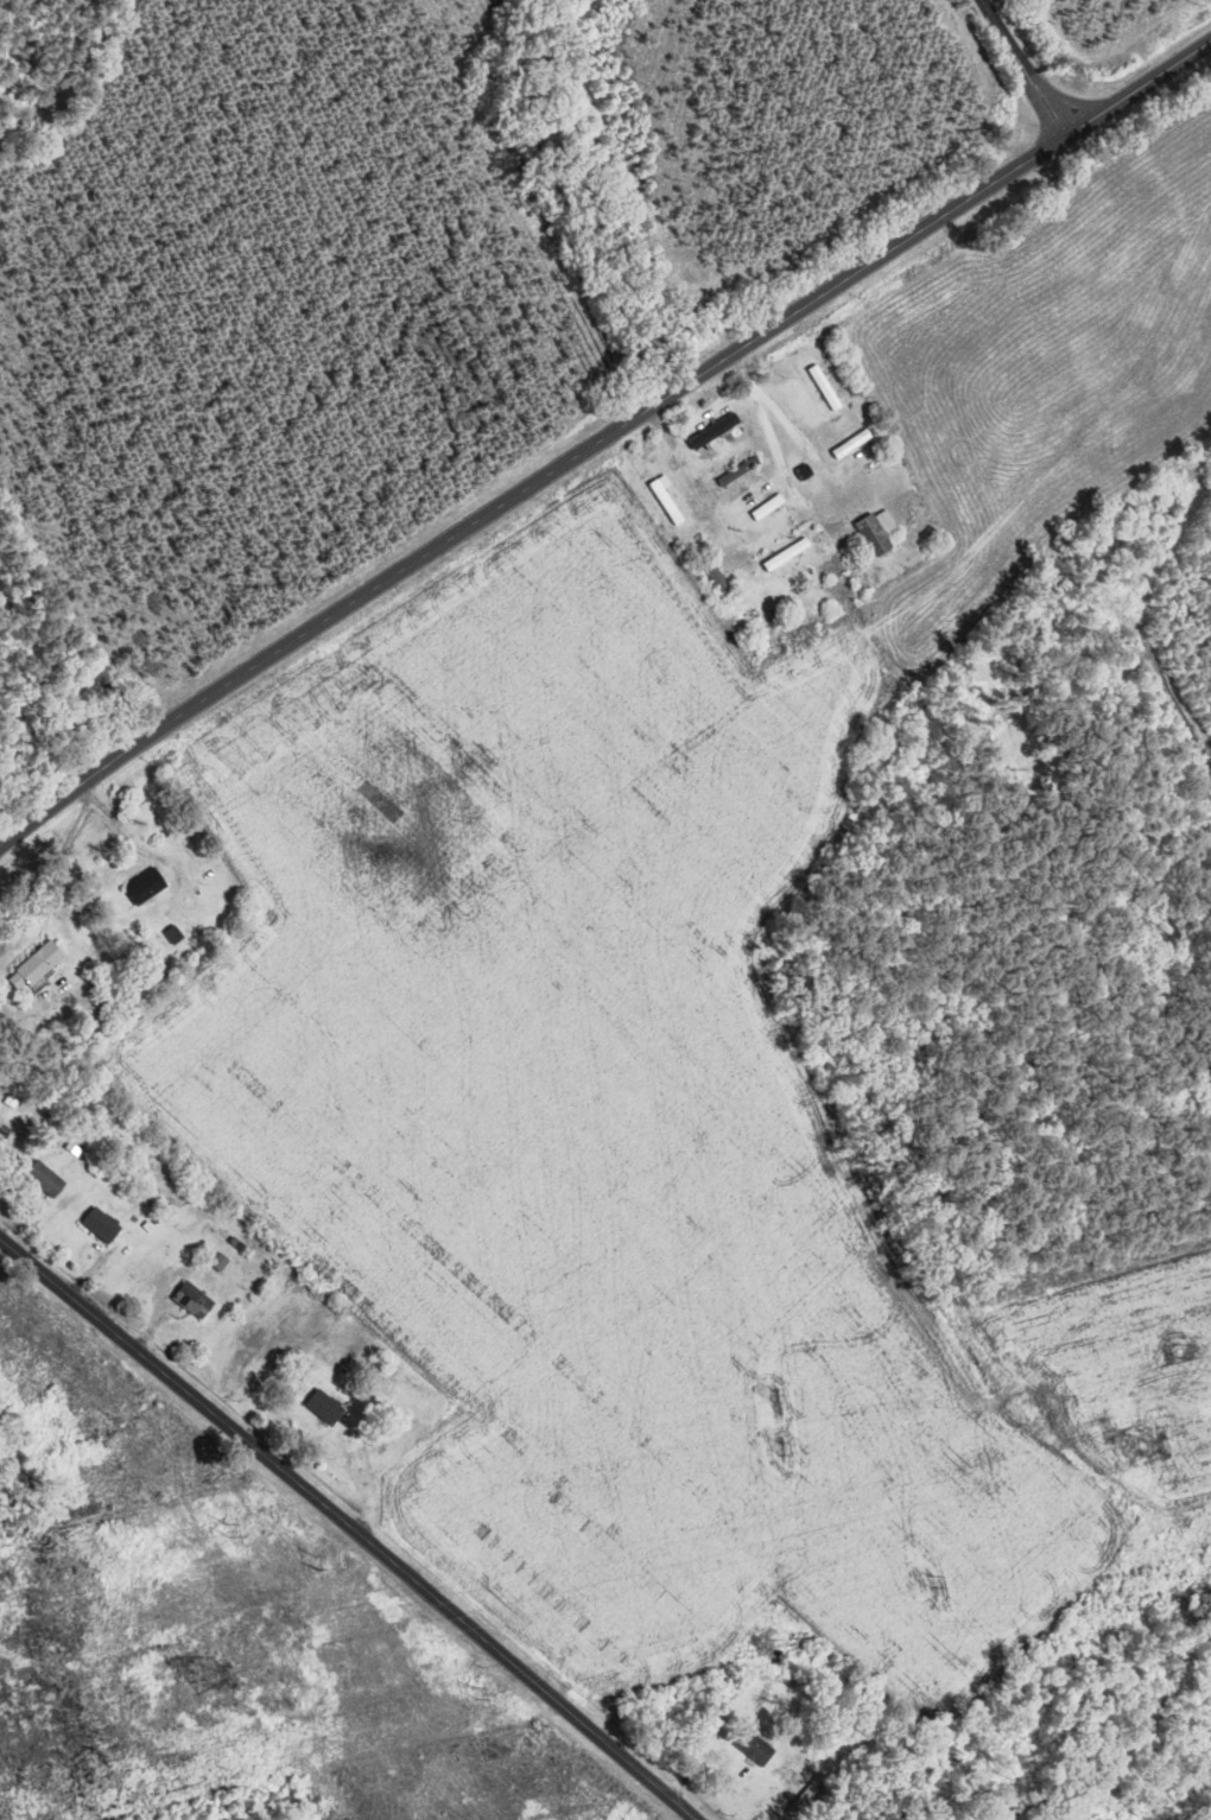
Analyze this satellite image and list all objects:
road: (1022, 66)
building: (826, 388)
building: (712, 433)
road: (602, 437)
building: (852, 445)
building: (740, 471)
building: (666, 502)
building: (768, 507)
road: (769, 524)
building: (879, 532)
building: (787, 554)
building: (714, 573)
building: (838, 575)
building: (146, 888)
building: (40, 964)
building: (45, 1180)
building: (102, 1224)
building: (194, 1300)
power tower: (1179, 1352)
power tower: (774, 1395)
building: (325, 1407)
power tower: (1143, 1444)
power tower: (780, 1447)
road: (351, 1526)
power tower: (233, 1534)
power tower: (315, 1567)
power tower: (930, 1579)
power tower: (205, 1667)
power tower: (476, 1692)
building: (755, 1748)
power tower: (0, 1807)

